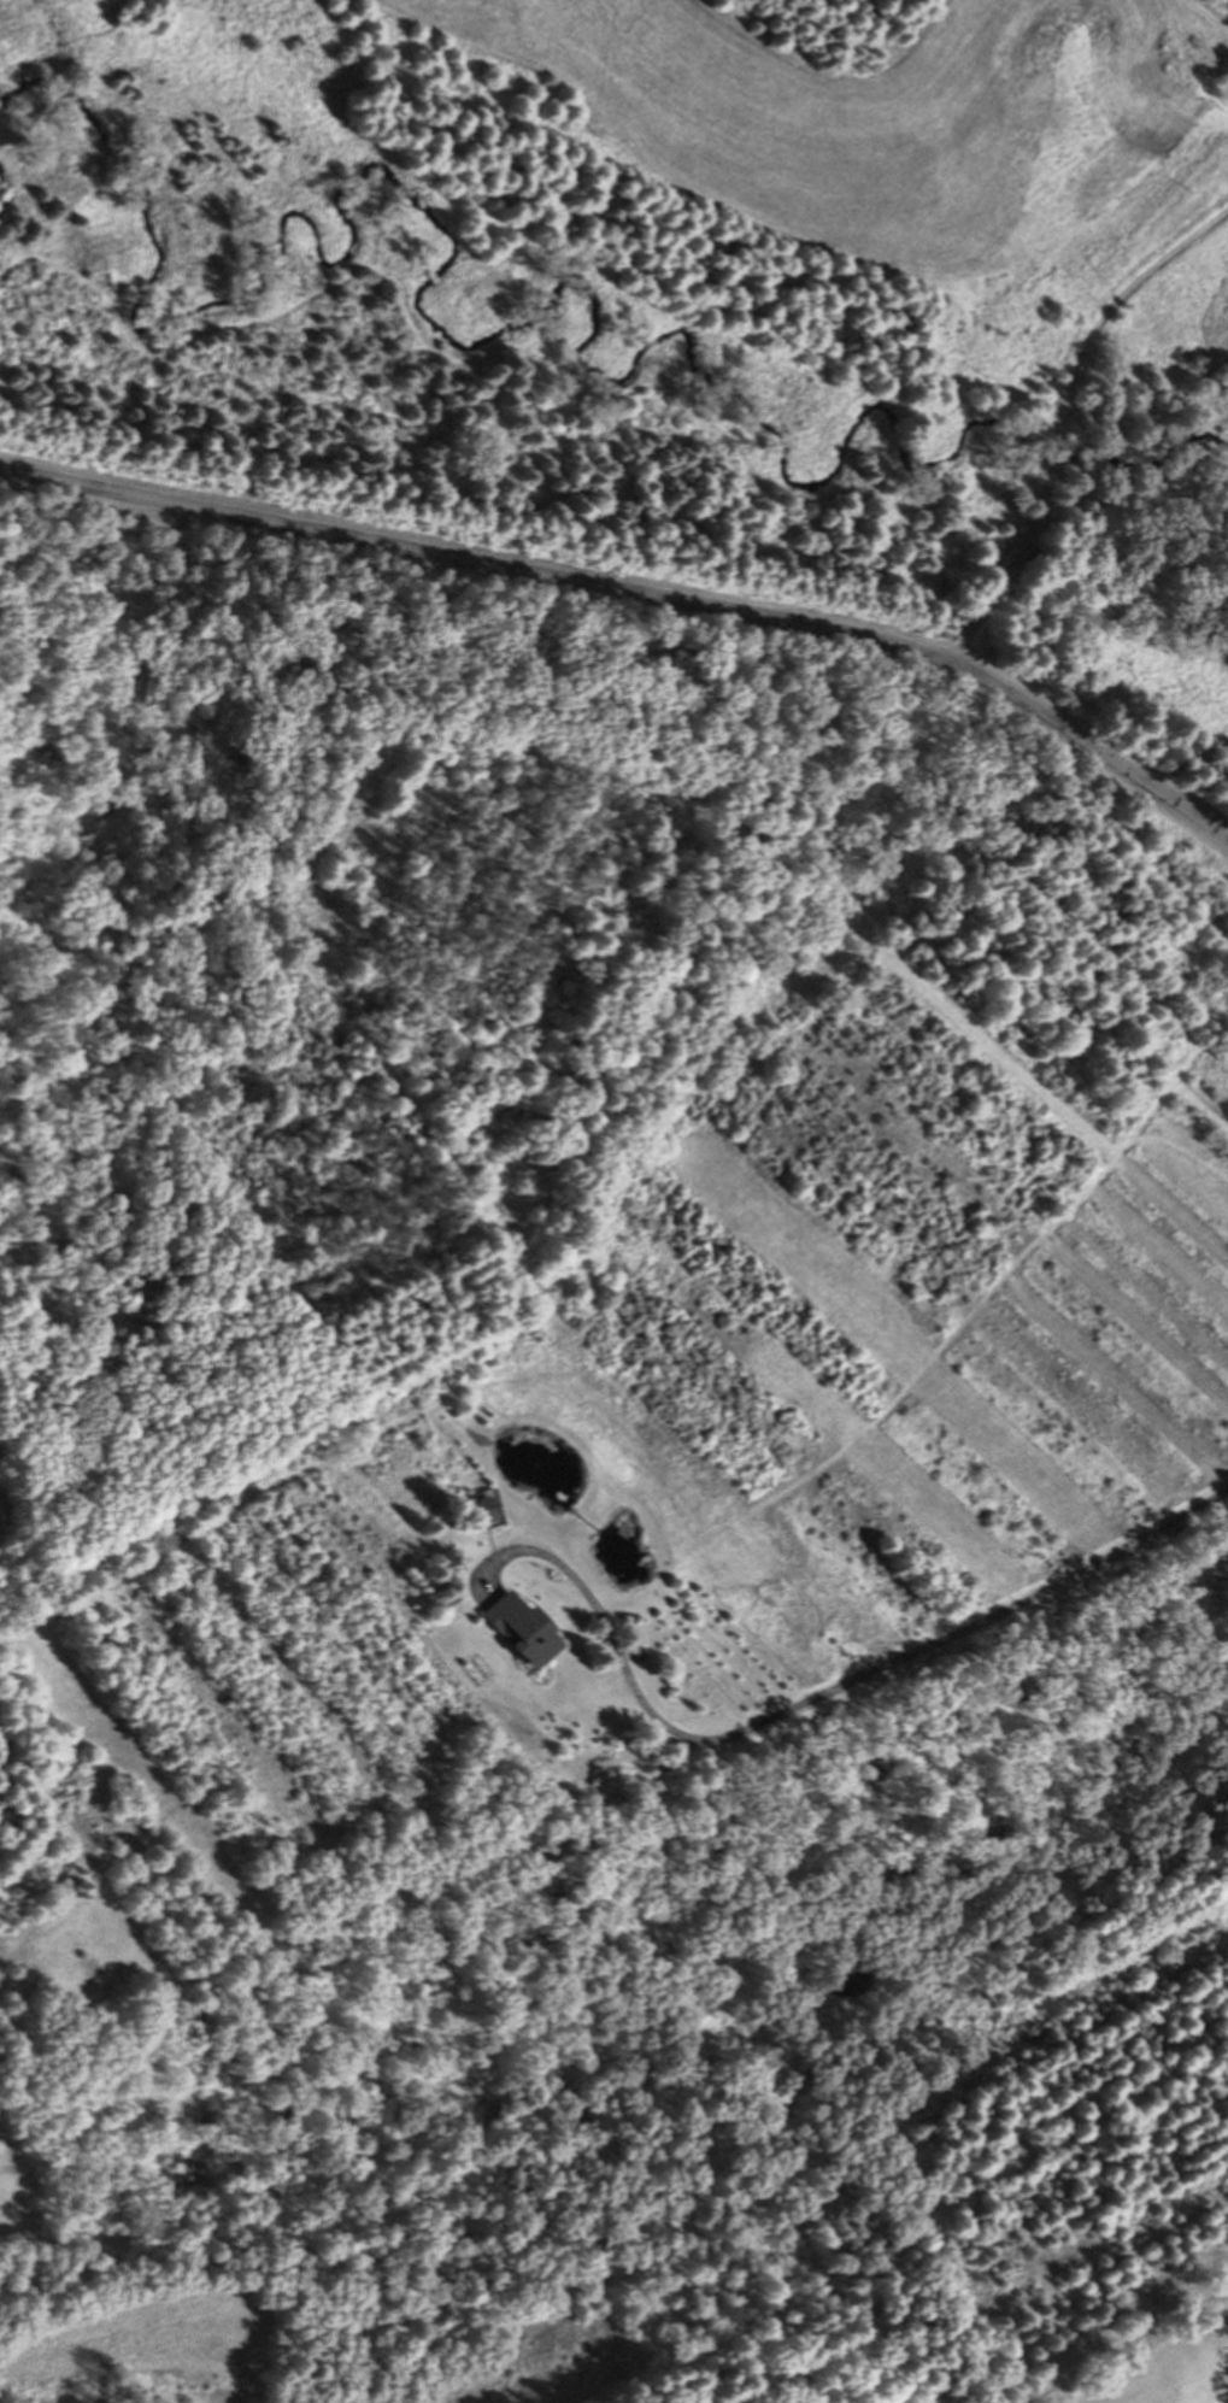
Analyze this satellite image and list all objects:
road: (1210, 12)
road: (501, 325)
road: (1058, 415)
road: (854, 424)
river: (1051, 440)
river: (1150, 459)
road: (548, 578)
road: (1153, 788)
building: (487, 1506)
building: (513, 1631)
road: (819, 1698)

